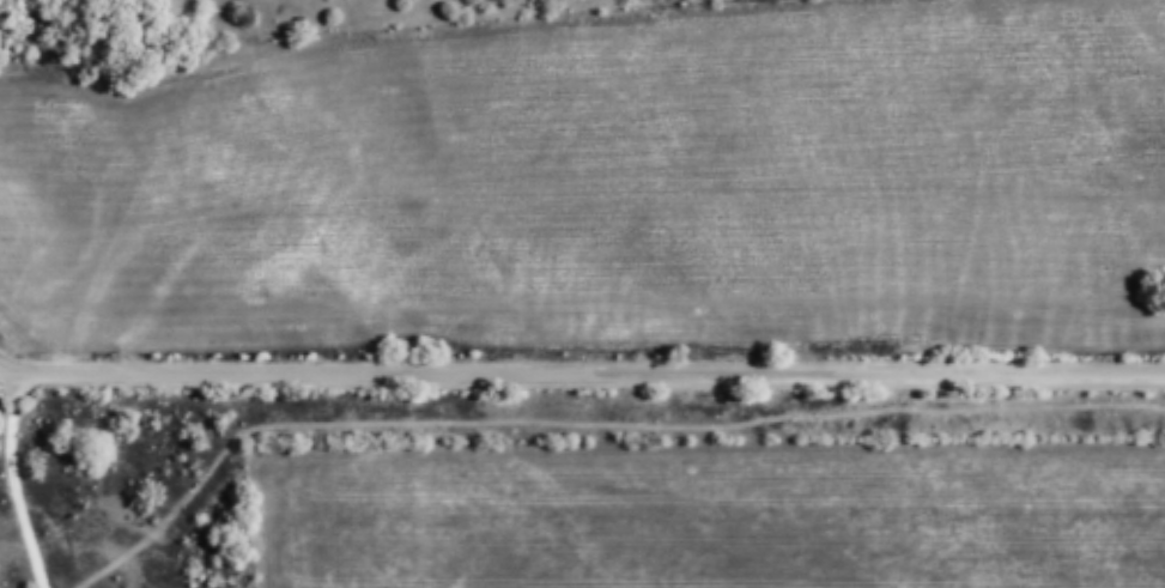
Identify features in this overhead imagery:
road: (17, 370)
road: (581, 374)
road: (47, 504)

